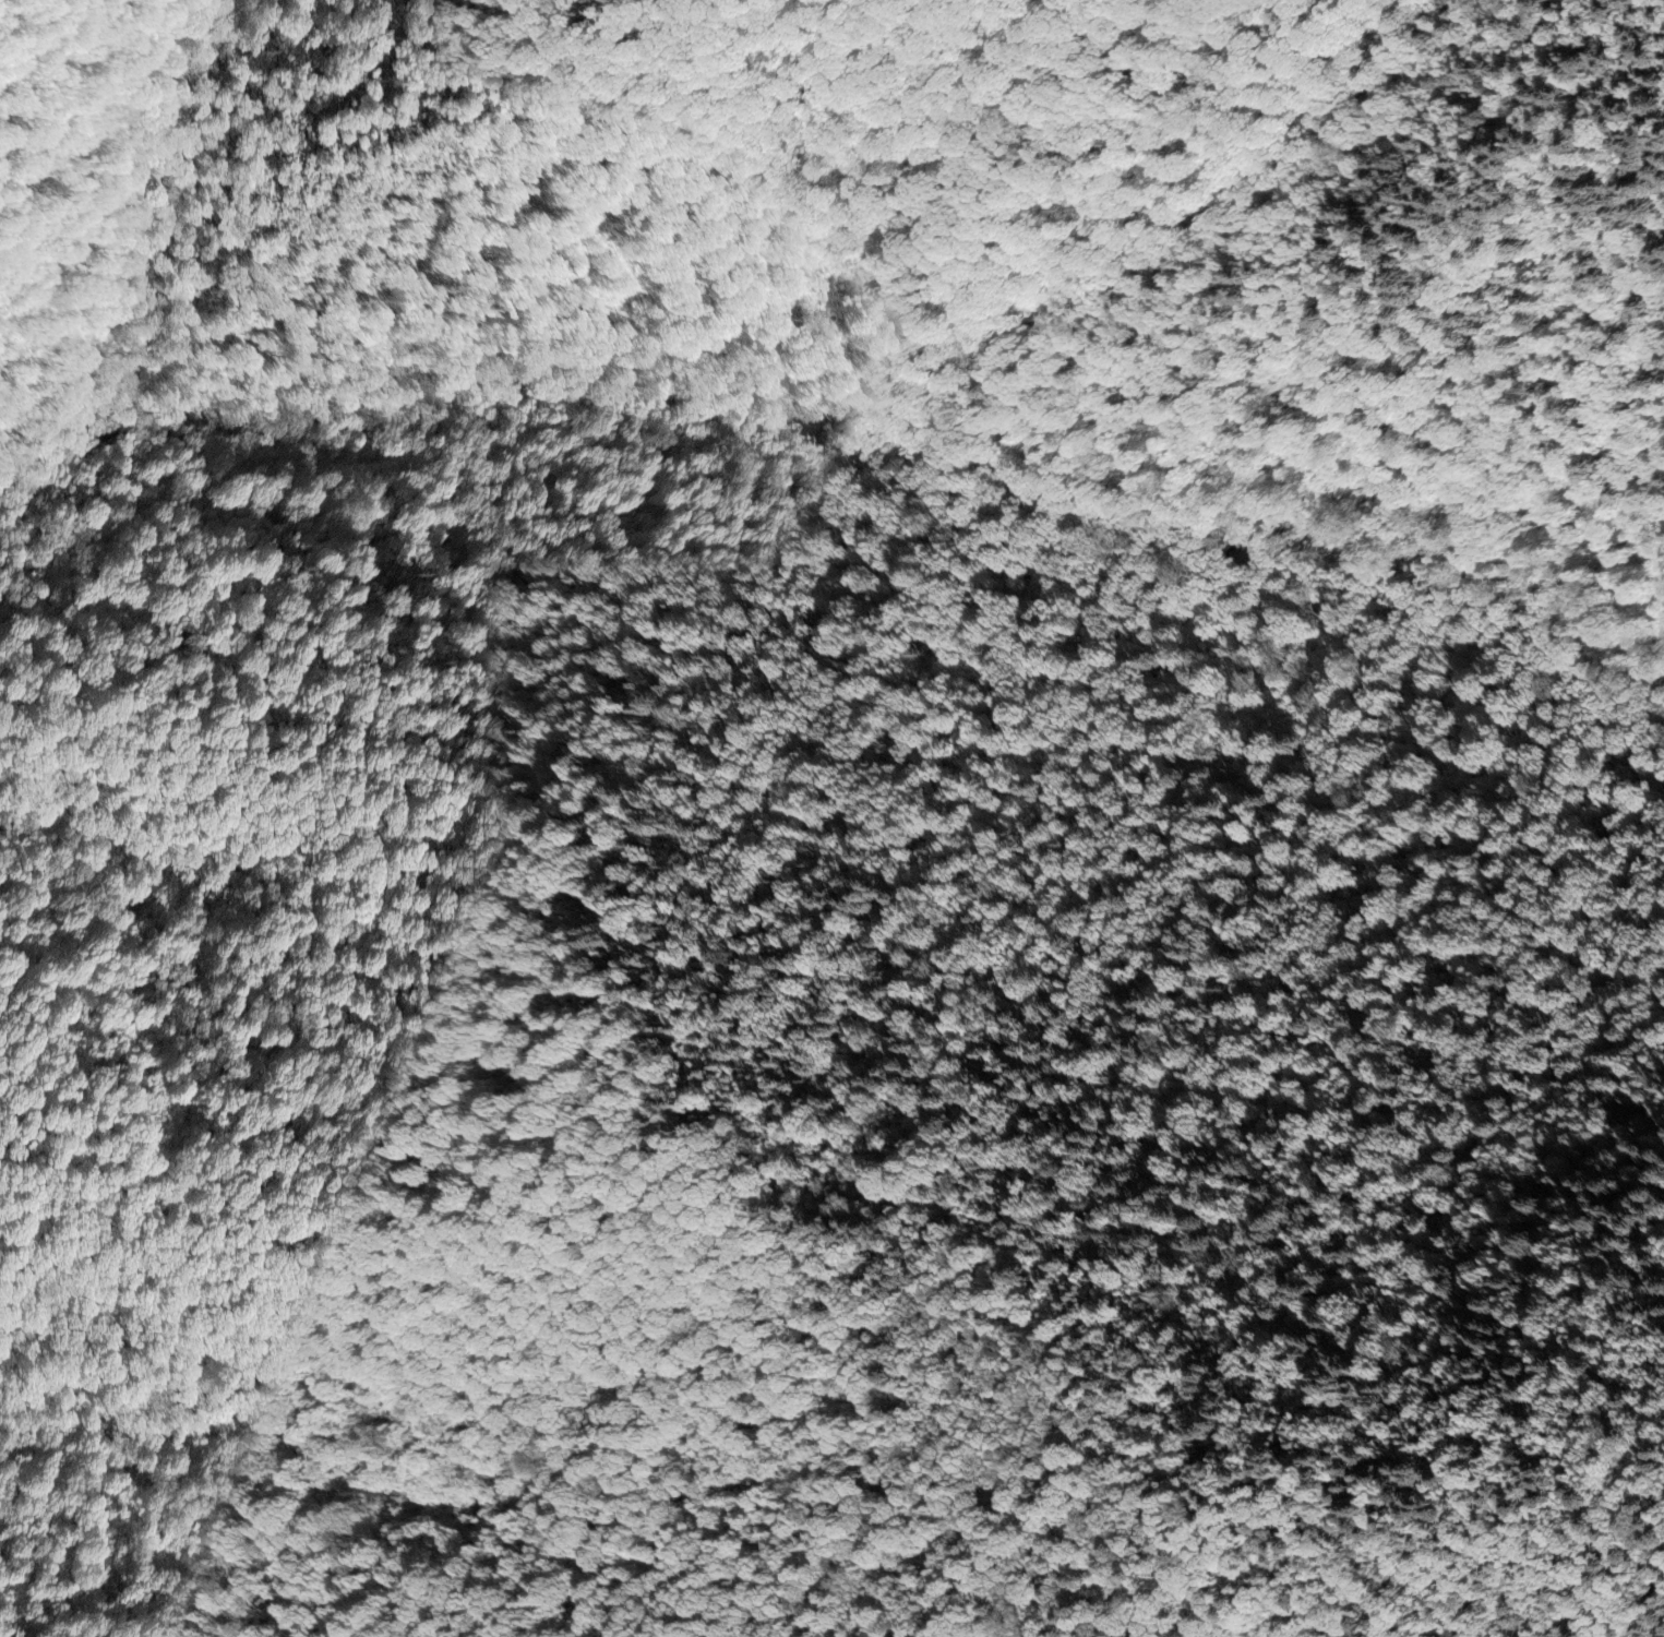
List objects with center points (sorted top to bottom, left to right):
road: (1597, 91)
road: (1259, 1338)

